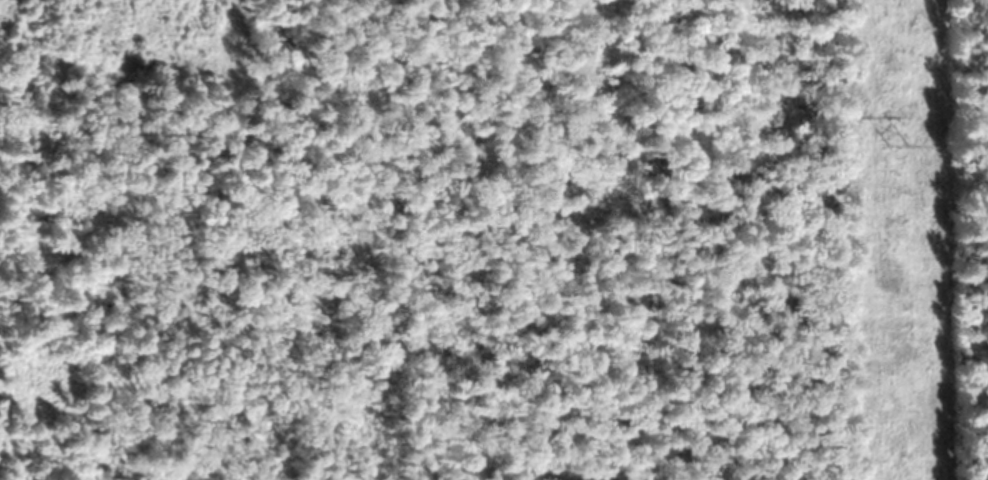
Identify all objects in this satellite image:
power tower: (895, 147)

